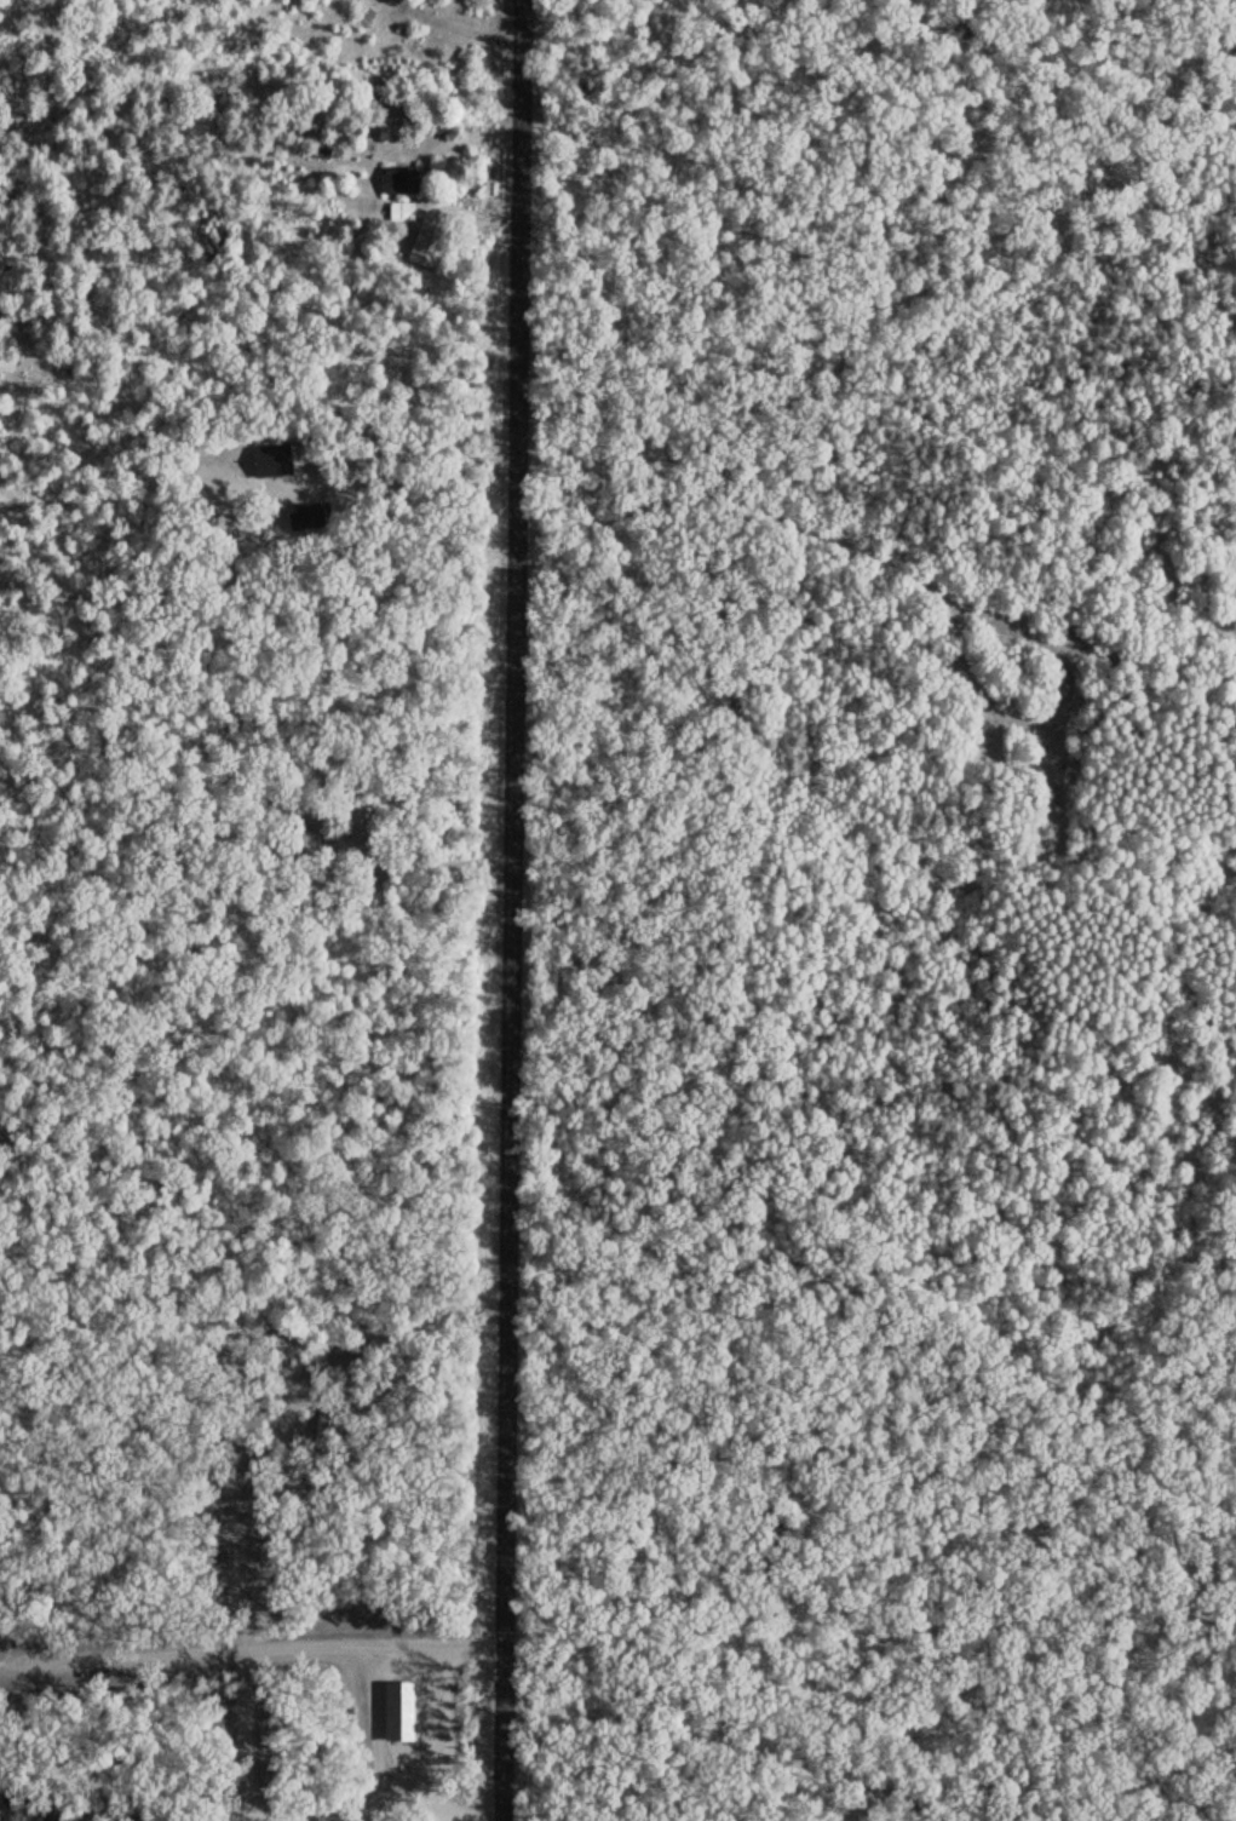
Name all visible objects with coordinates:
building: (399, 177)
building: (402, 208)
building: (271, 458)
road: (504, 909)
road: (381, 1357)
building: (327, 1414)
building: (7, 1803)
building: (52, 1809)
road: (345, 1809)

